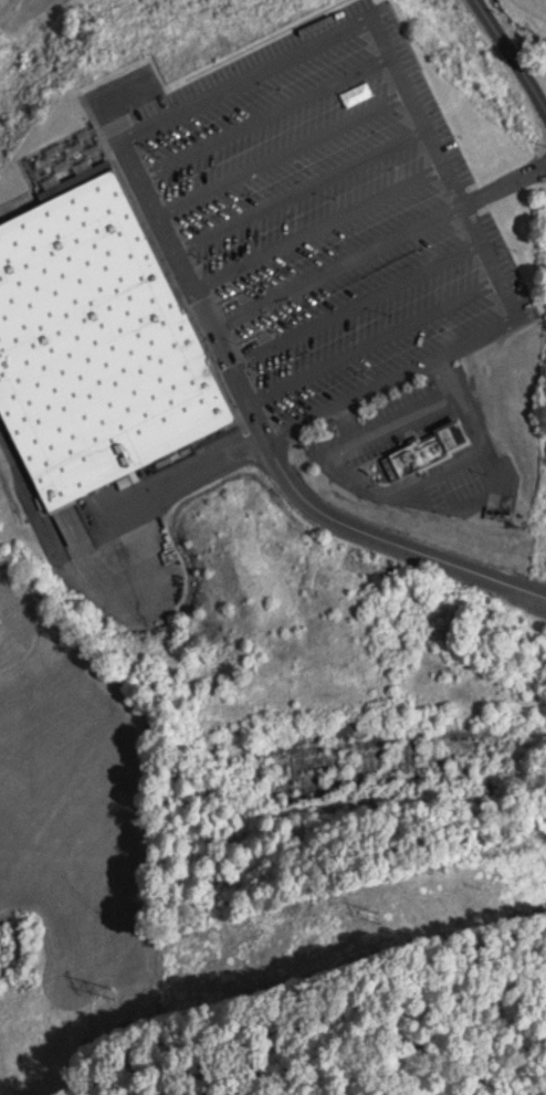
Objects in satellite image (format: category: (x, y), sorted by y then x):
road: (514, 55)
road: (243, 78)
road: (263, 116)
road: (281, 154)
road: (298, 190)
road: (316, 228)
road: (376, 243)
road: (354, 304)
road: (371, 343)
building: (94, 345)
road: (390, 381)
building: (427, 451)
road: (190, 474)
road: (422, 483)
road: (29, 501)
road: (390, 541)
road: (120, 586)
power tower: (379, 917)
power tower: (108, 996)

